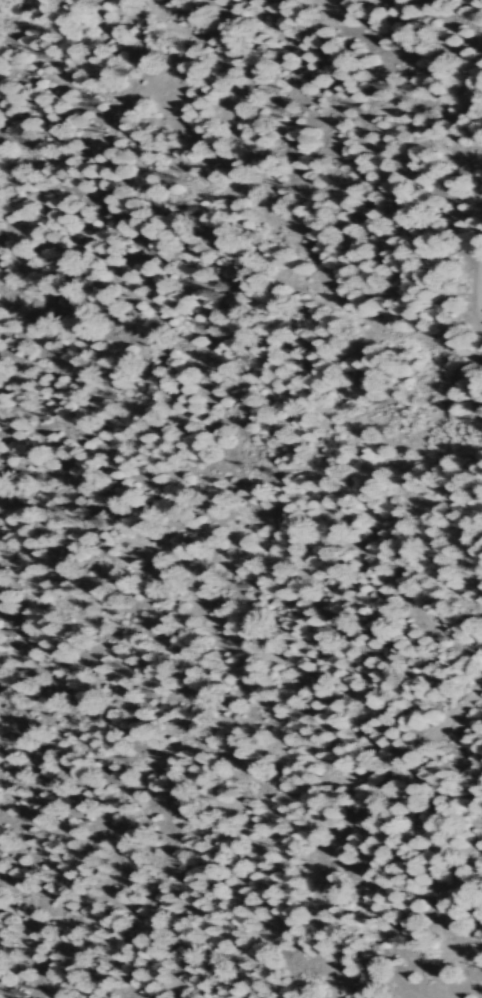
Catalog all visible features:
road: (322, 802)

